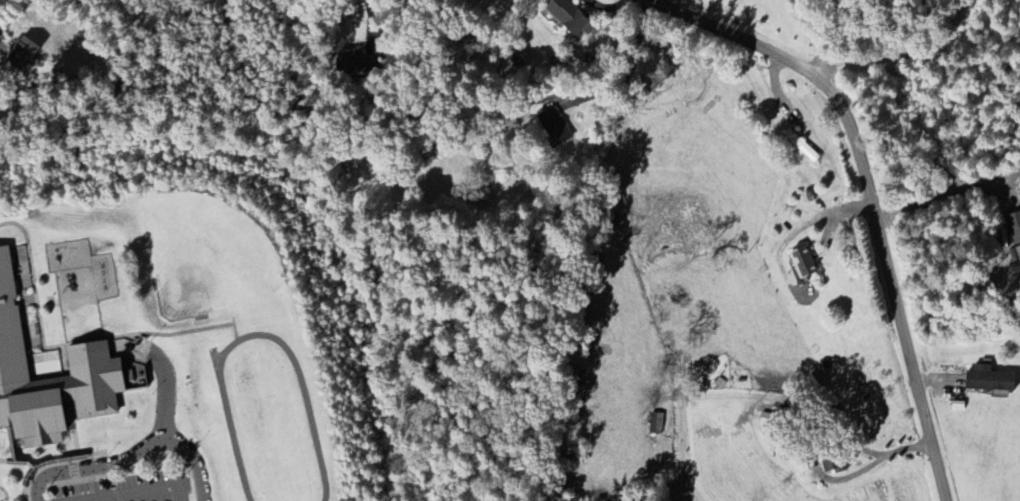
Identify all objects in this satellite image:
road: (369, 18)
building: (569, 18)
road: (817, 51)
building: (22, 54)
building: (358, 63)
building: (554, 129)
road: (867, 196)
road: (942, 196)
building: (1014, 227)
park: (209, 255)
building: (804, 265)
road: (234, 326)
road: (66, 344)
building: (50, 378)
building: (989, 381)
road: (165, 390)
track: (311, 426)
road: (12, 443)
road: (131, 454)
road: (2, 460)
road: (49, 460)
road: (20, 461)
building: (831, 468)
road: (819, 473)
road: (143, 492)
road: (5, 493)

